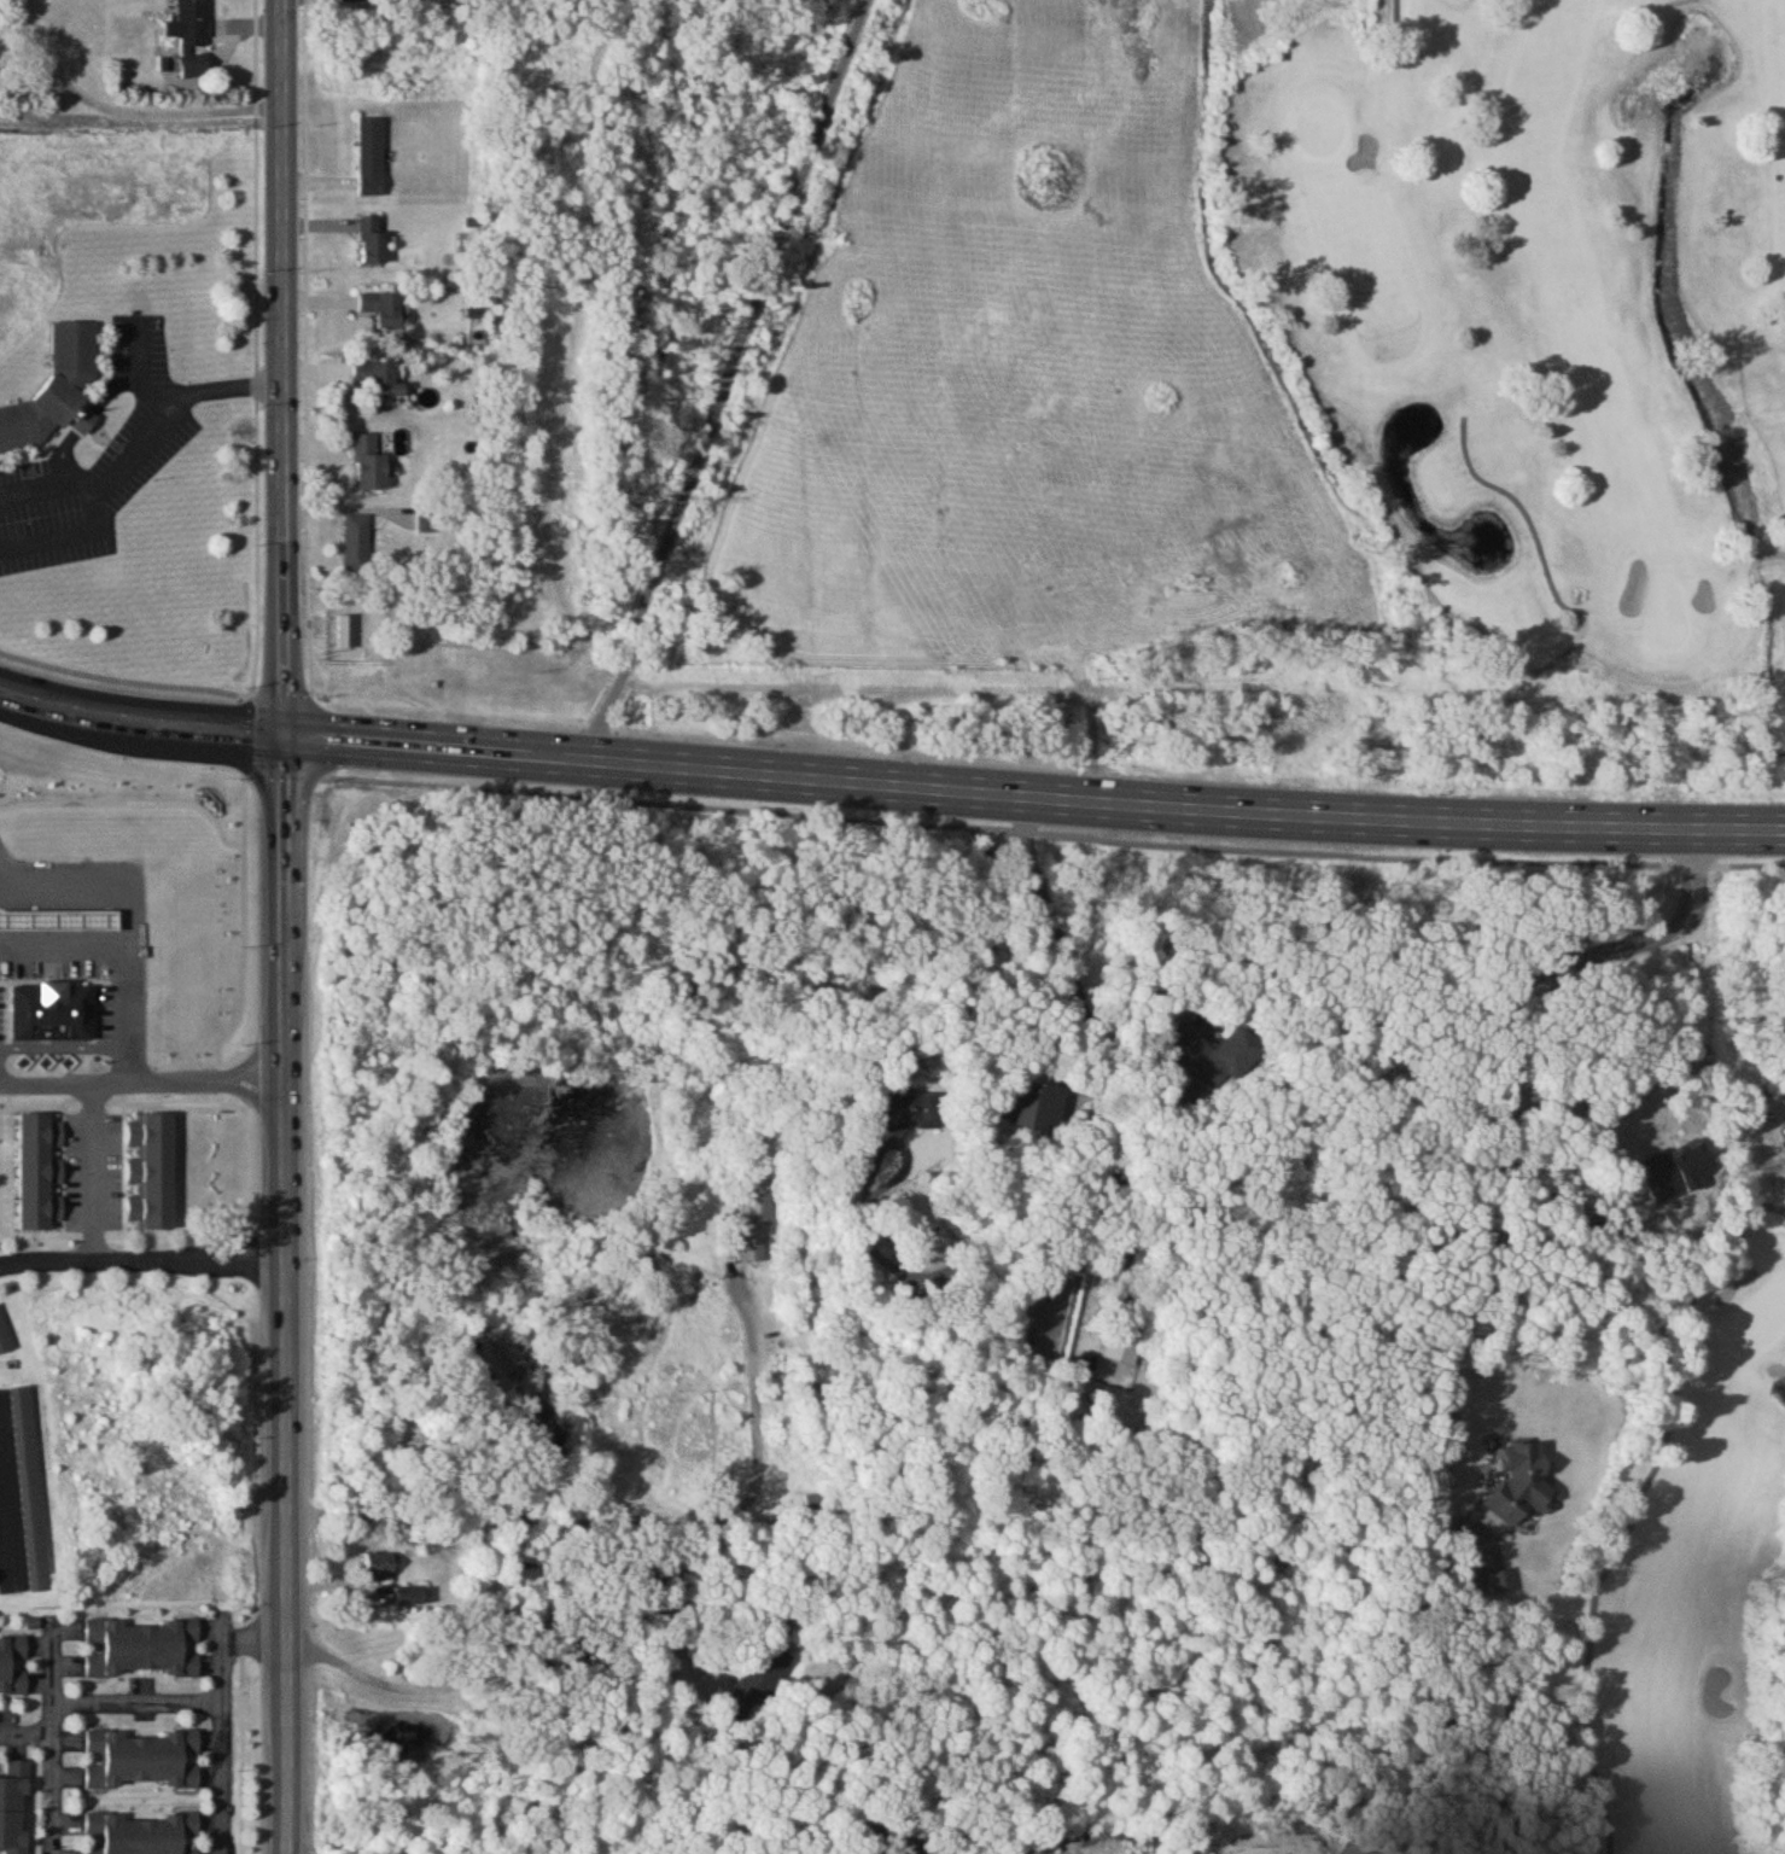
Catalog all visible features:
building: (192, 36)
road: (258, 49)
road: (121, 110)
park: (1323, 126)
building: (371, 156)
building: (372, 239)
building: (381, 305)
road: (141, 366)
building: (379, 378)
road: (718, 379)
building: (57, 383)
road: (115, 383)
road: (227, 383)
road: (261, 395)
road: (62, 450)
parking lot: (101, 451)
building: (369, 463)
road: (100, 482)
road: (70, 530)
building: (356, 543)
park: (1670, 612)
building: (346, 632)
park: (1398, 730)
road: (889, 783)
road: (853, 820)
building: (60, 915)
road: (134, 926)
road: (281, 927)
road: (68, 960)
building: (56, 1007)
building: (1207, 1056)
road: (256, 1077)
road: (116, 1089)
road: (1506, 1091)
road: (1646, 1094)
road: (255, 1104)
building: (1034, 1107)
building: (904, 1115)
road: (98, 1172)
building: (756, 1226)
road: (1108, 1244)
road: (140, 1252)
road: (951, 1265)
building: (920, 1312)
park: (1754, 1322)
building: (5, 1336)
building: (1125, 1346)
road: (1661, 1454)
building: (817, 1504)
building: (27, 1505)
road: (625, 1521)
road: (8, 1528)
building: (380, 1566)
building: (408, 1596)
road: (252, 1637)
road: (519, 1645)
building: (141, 1649)
building: (12, 1664)
building: (758, 1678)
road: (138, 1703)
road: (222, 1733)
road: (25, 1735)
road: (51, 1737)
building: (142, 1759)
building: (13, 1807)
building: (142, 1835)

